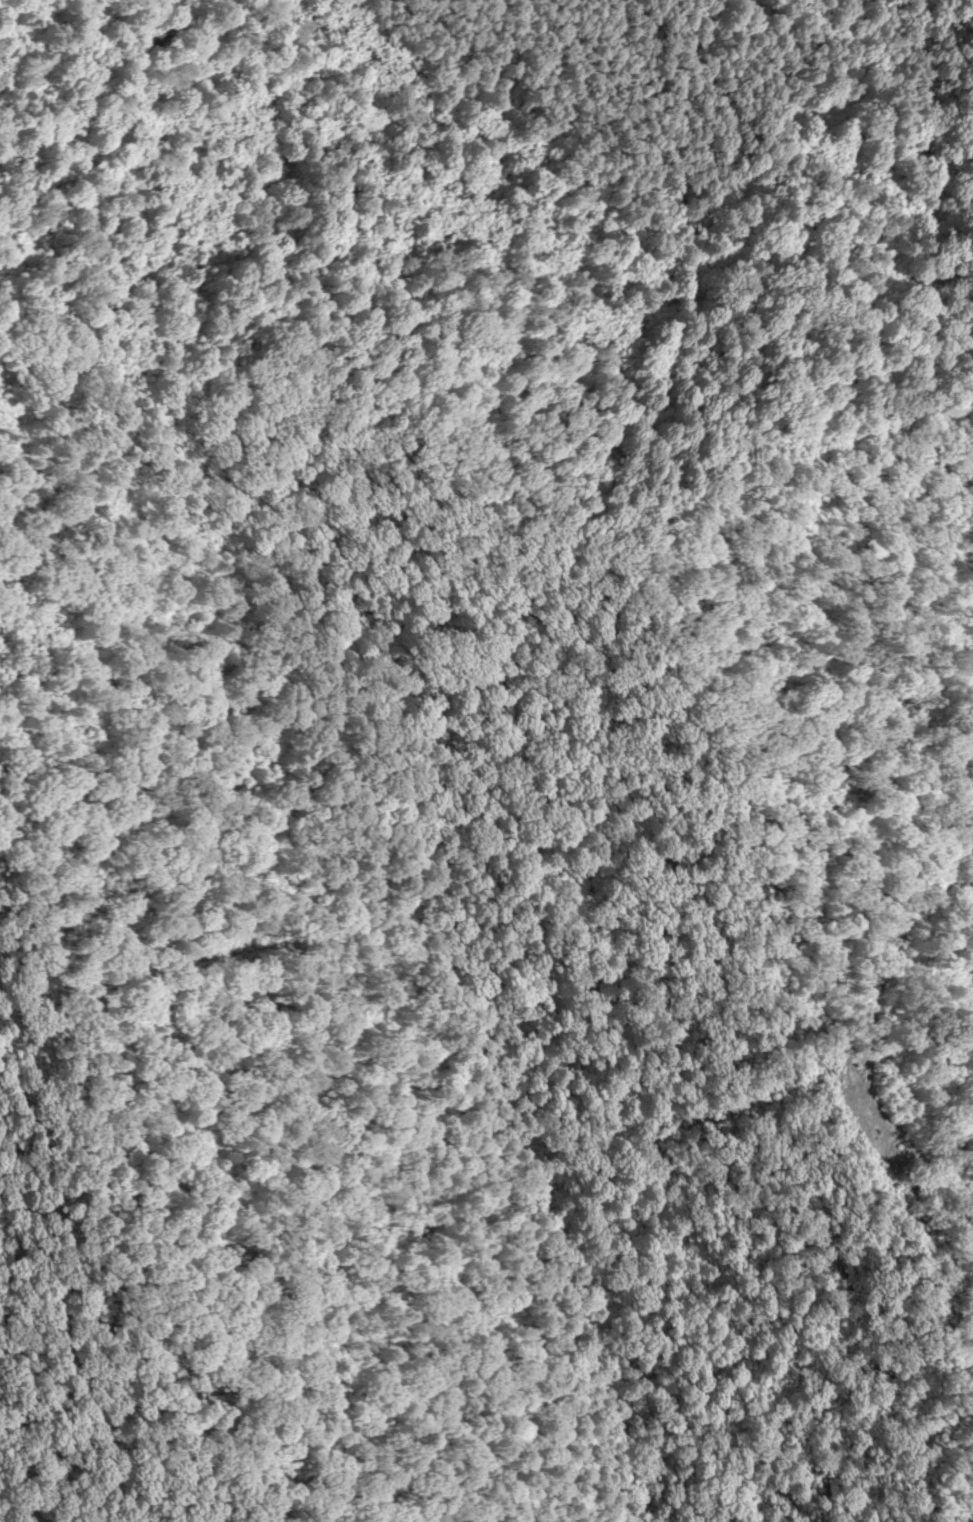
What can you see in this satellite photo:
road: (521, 1413)

